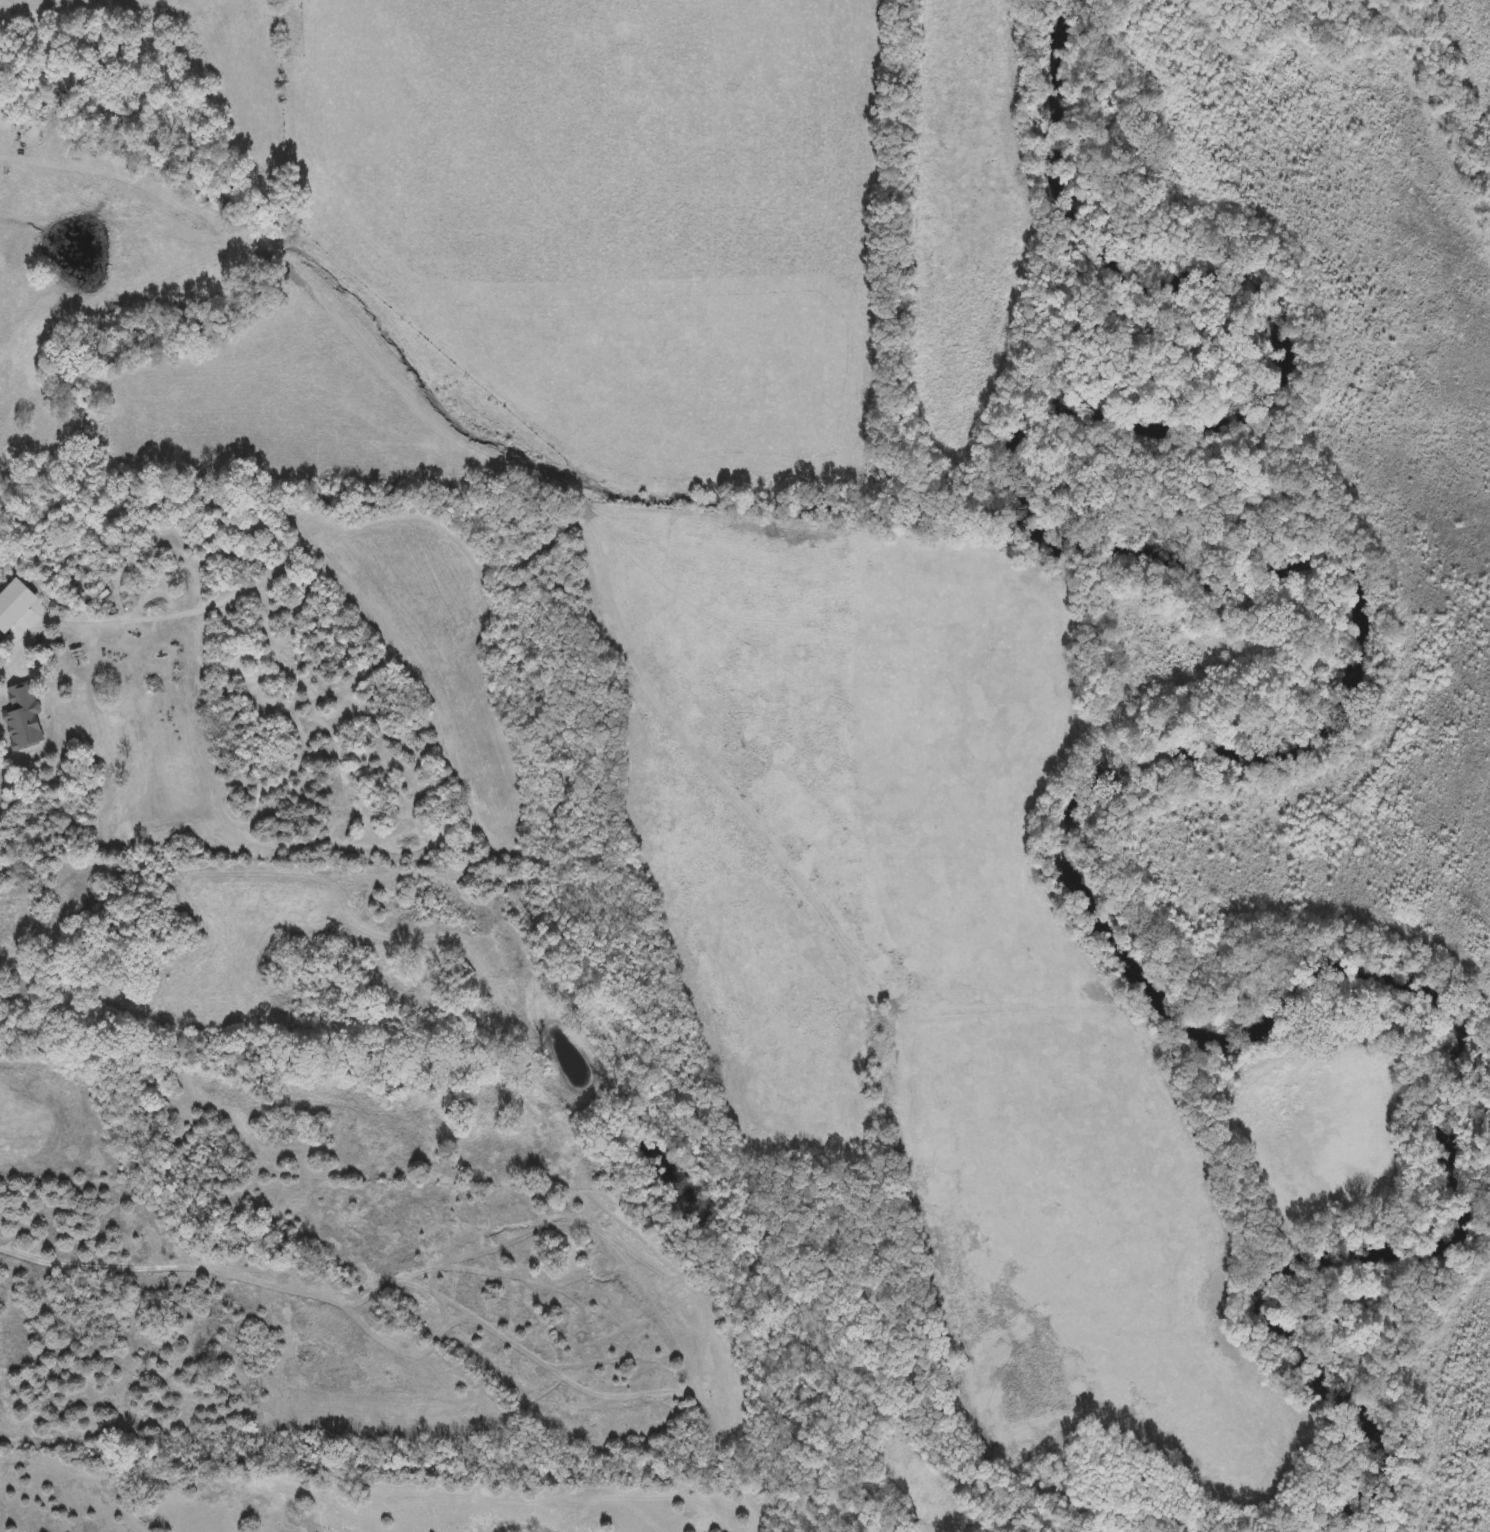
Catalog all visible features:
building: (13, 598)
road: (75, 620)
building: (17, 717)

